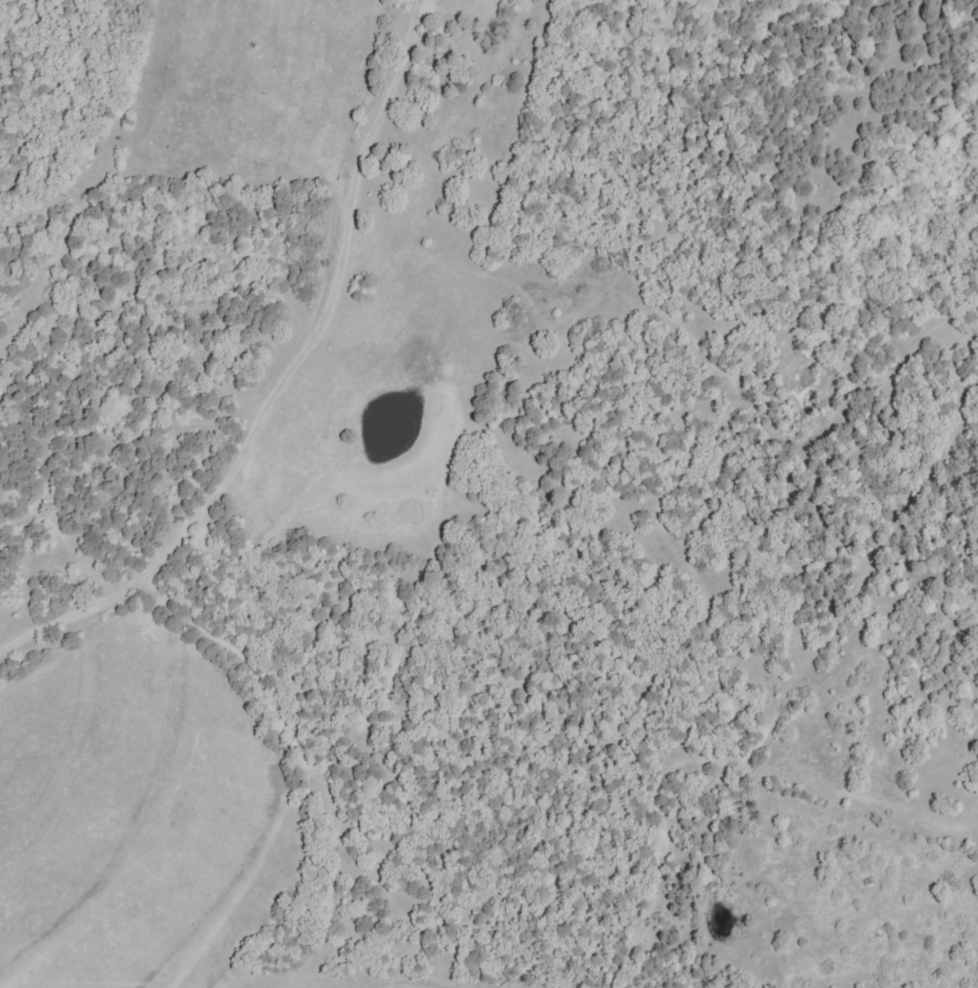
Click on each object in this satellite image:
road: (261, 237)
road: (249, 435)

